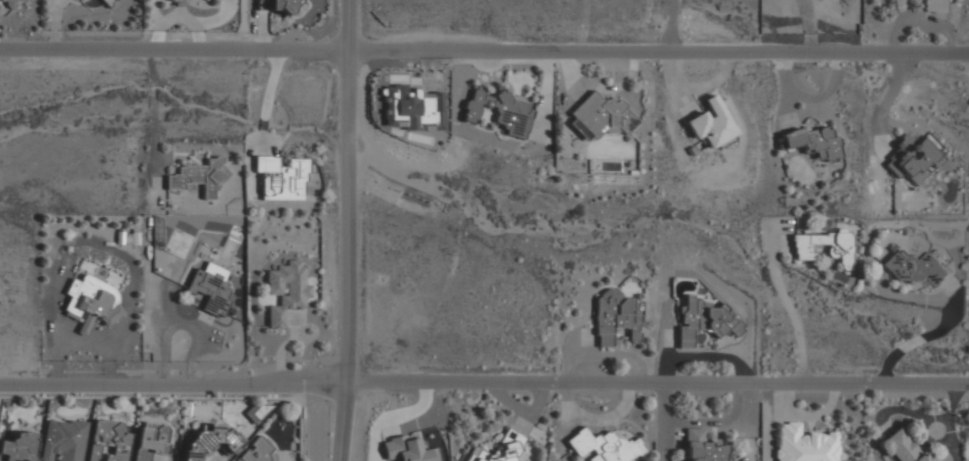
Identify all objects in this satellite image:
building: (177, 1)
building: (11, 2)
building: (108, 2)
building: (283, 5)
building: (934, 5)
road: (484, 50)
building: (500, 111)
building: (601, 117)
building: (711, 123)
building: (813, 142)
building: (913, 159)
building: (199, 176)
building: (281, 178)
road: (347, 230)
building: (840, 251)
building: (916, 267)
building: (210, 288)
building: (286, 291)
building: (91, 301)
road: (784, 305)
building: (614, 317)
building: (706, 319)
road: (920, 338)
road: (484, 380)
building: (259, 411)
building: (108, 439)
building: (63, 440)
building: (207, 440)
building: (805, 444)
building: (603, 446)
building: (901, 446)
building: (18, 447)
building: (703, 447)
building: (500, 448)
building: (405, 449)
building: (257, 451)

